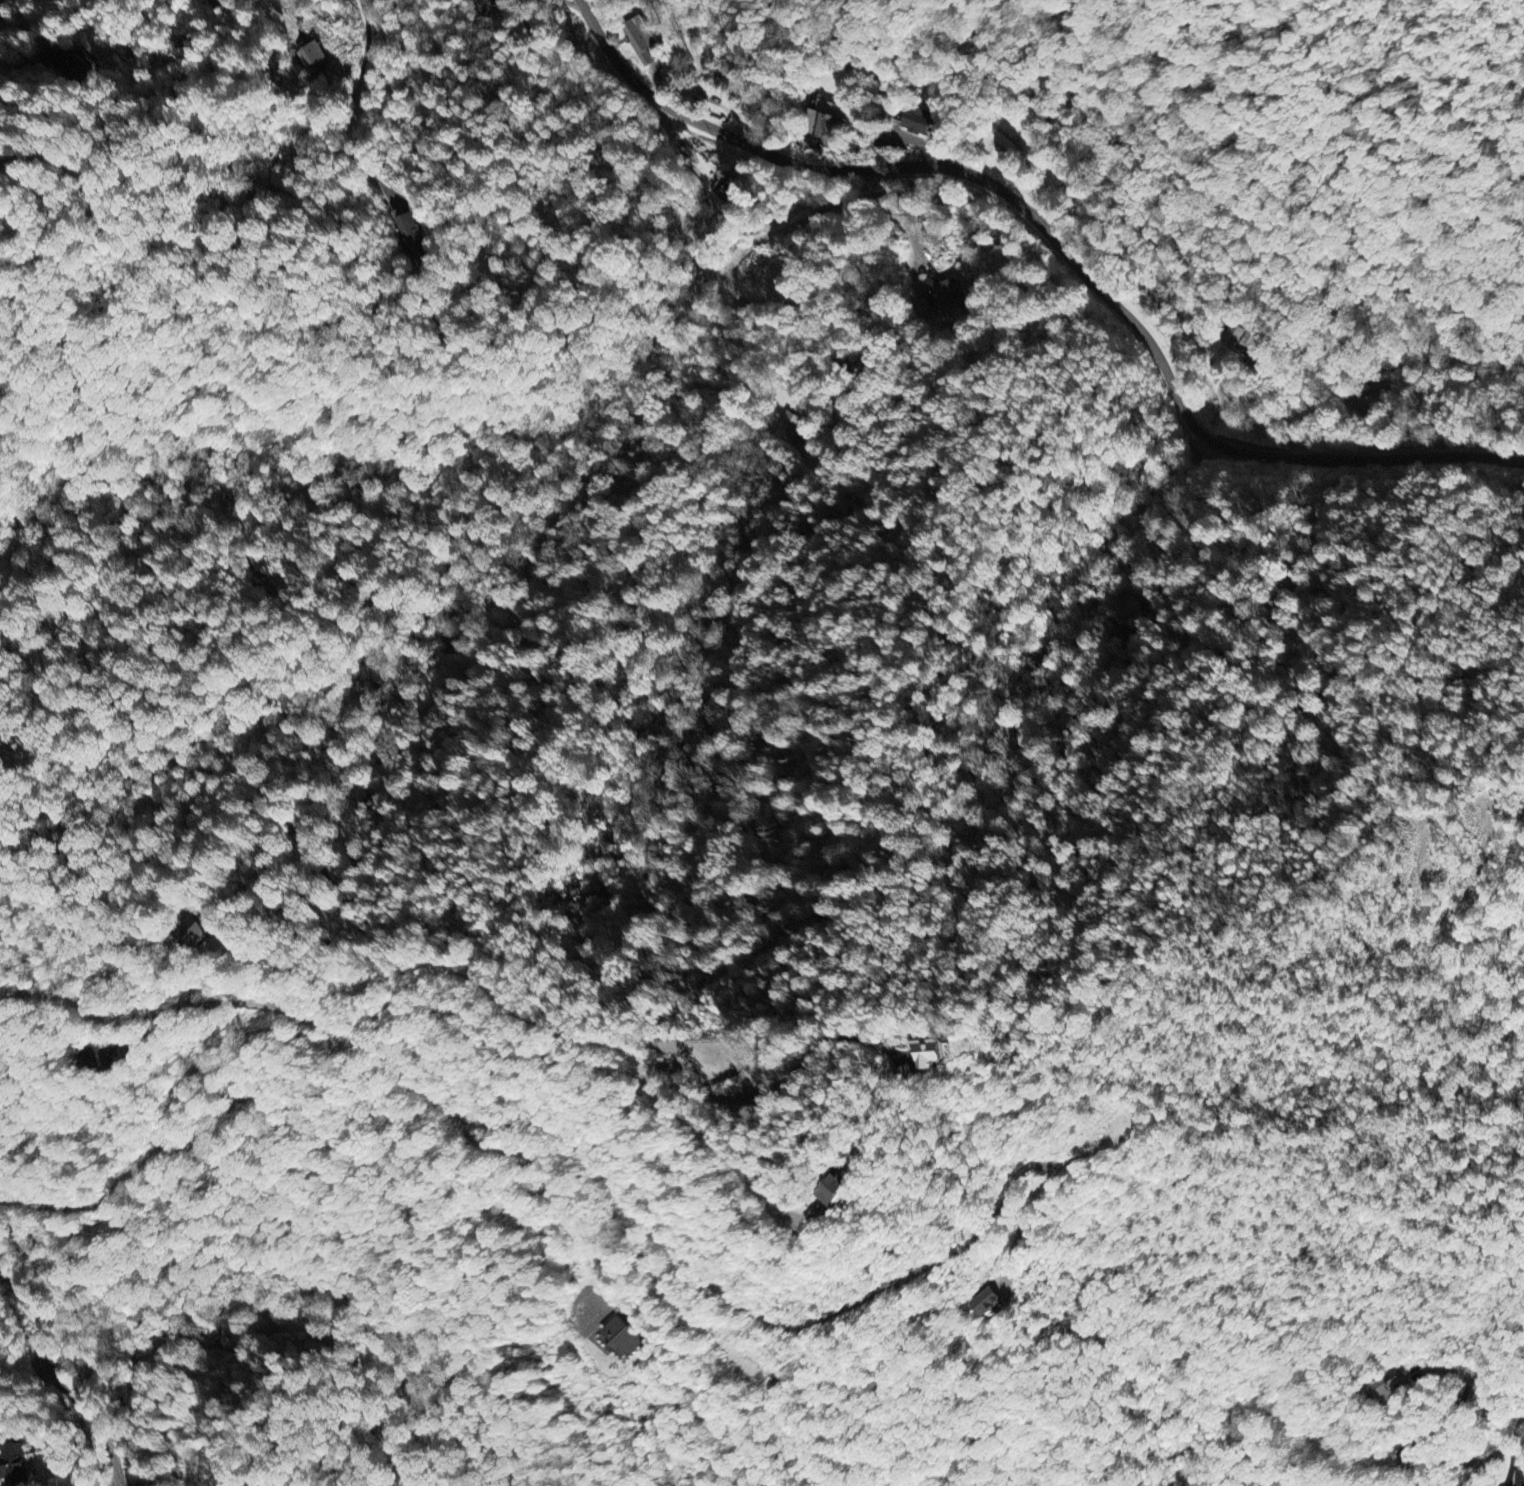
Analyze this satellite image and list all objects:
road: (573, 3)
building: (491, 4)
road: (233, 13)
building: (643, 39)
building: (317, 56)
road: (354, 102)
building: (827, 120)
building: (919, 122)
road: (26, 196)
building: (413, 235)
road: (1043, 239)
building: (947, 288)
building: (1247, 342)
building: (793, 423)
road: (840, 472)
road: (1450, 916)
road: (171, 1007)
road: (304, 1033)
building: (922, 1055)
building: (103, 1056)
road: (623, 1181)
building: (812, 1190)
building: (987, 1302)
building: (623, 1338)
road: (55, 1379)
building: (1390, 1391)
road: (1429, 1433)
road: (1496, 1455)
building: (15, 1462)
road: (119, 1485)

